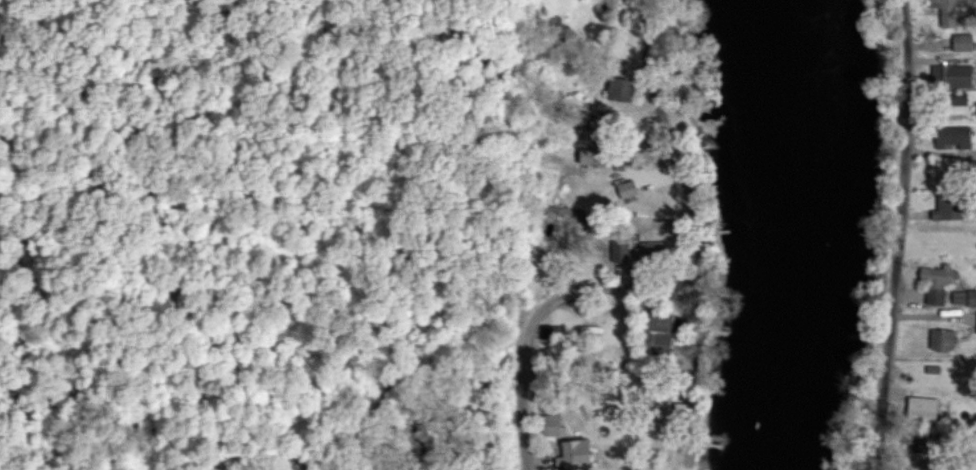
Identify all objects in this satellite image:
building: (947, 10)
building: (960, 42)
building: (949, 76)
building: (618, 88)
building: (957, 100)
building: (951, 137)
building: (624, 189)
building: (943, 213)
river: (800, 233)
road: (898, 234)
building: (649, 248)
building: (618, 251)
building: (933, 283)
road: (674, 286)
building: (956, 297)
building: (970, 297)
road: (697, 320)
building: (975, 324)
building: (654, 334)
building: (939, 339)
building: (919, 408)
building: (549, 425)
building: (571, 455)

